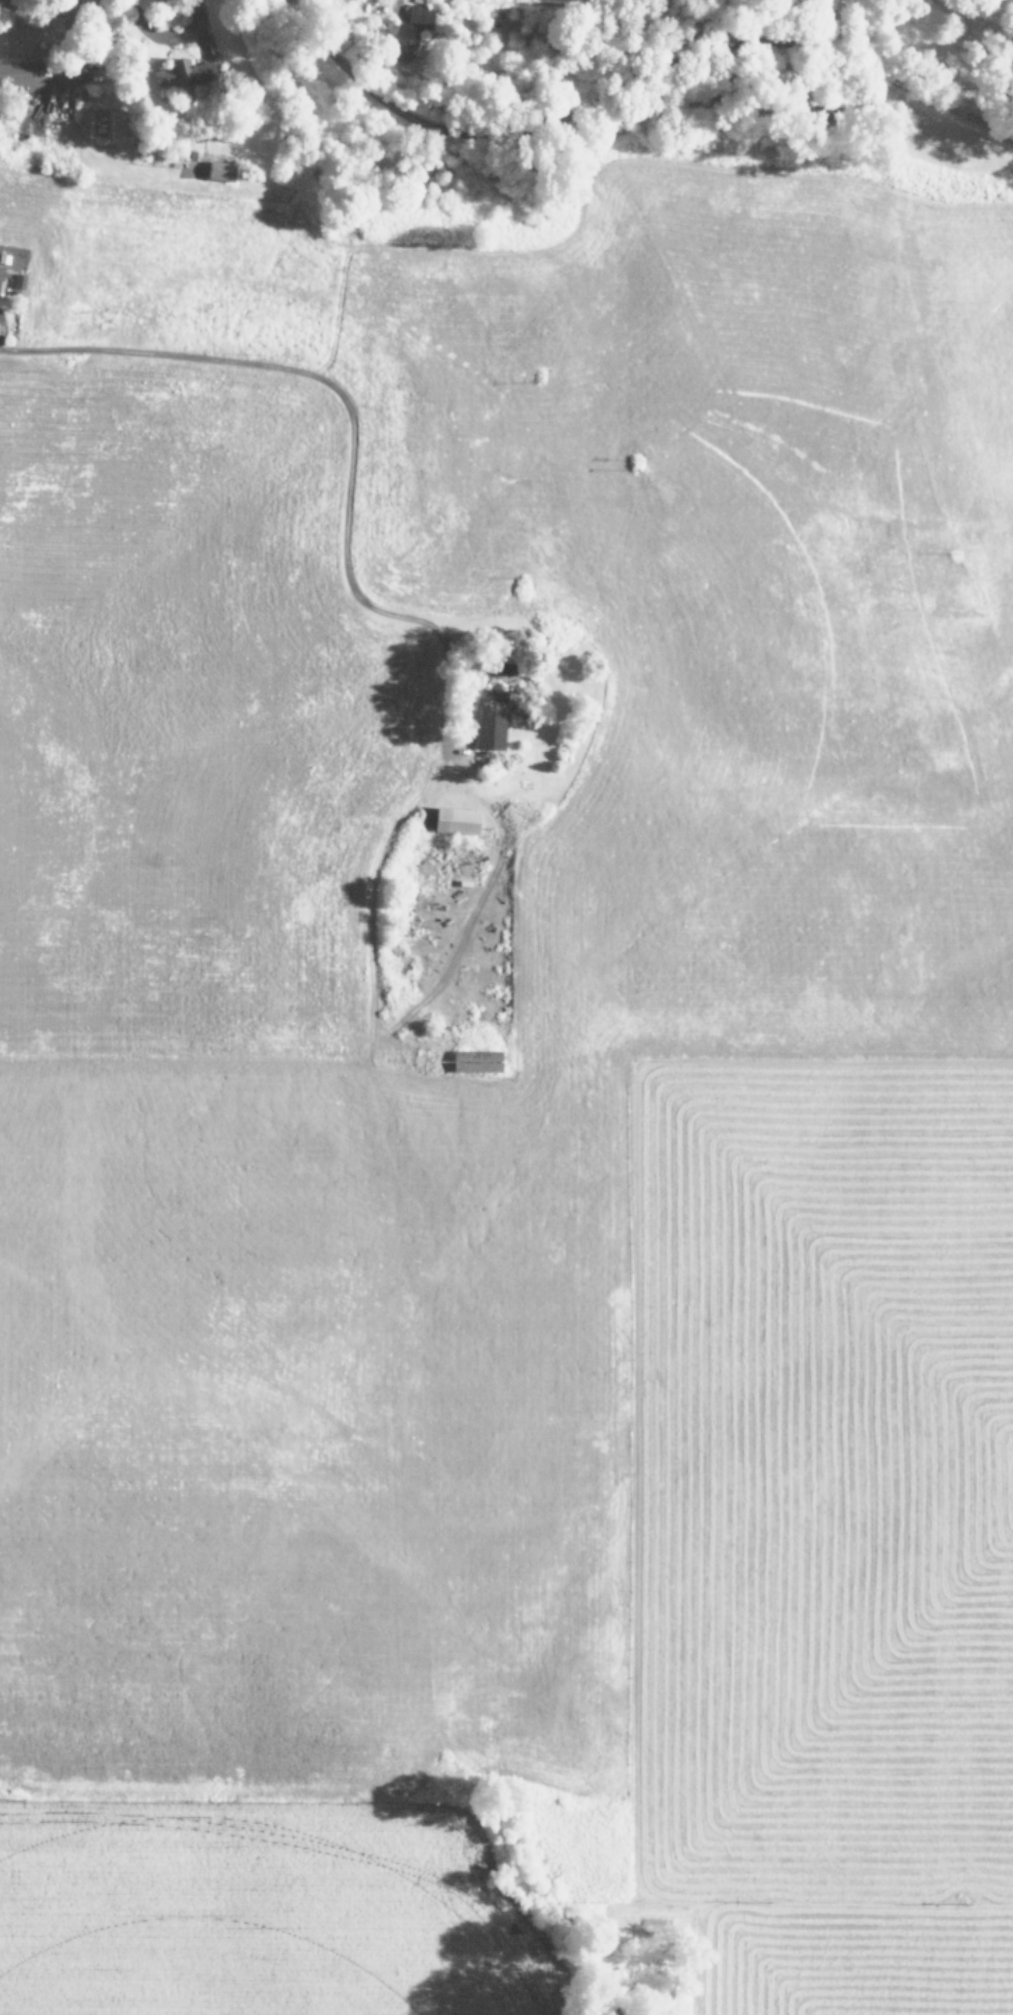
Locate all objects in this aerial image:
building: (411, 33)
building: (184, 73)
building: (14, 74)
road: (629, 80)
building: (221, 171)
building: (1, 275)
road: (367, 448)
building: (491, 720)
building: (457, 820)
crop: (504, 1087)

